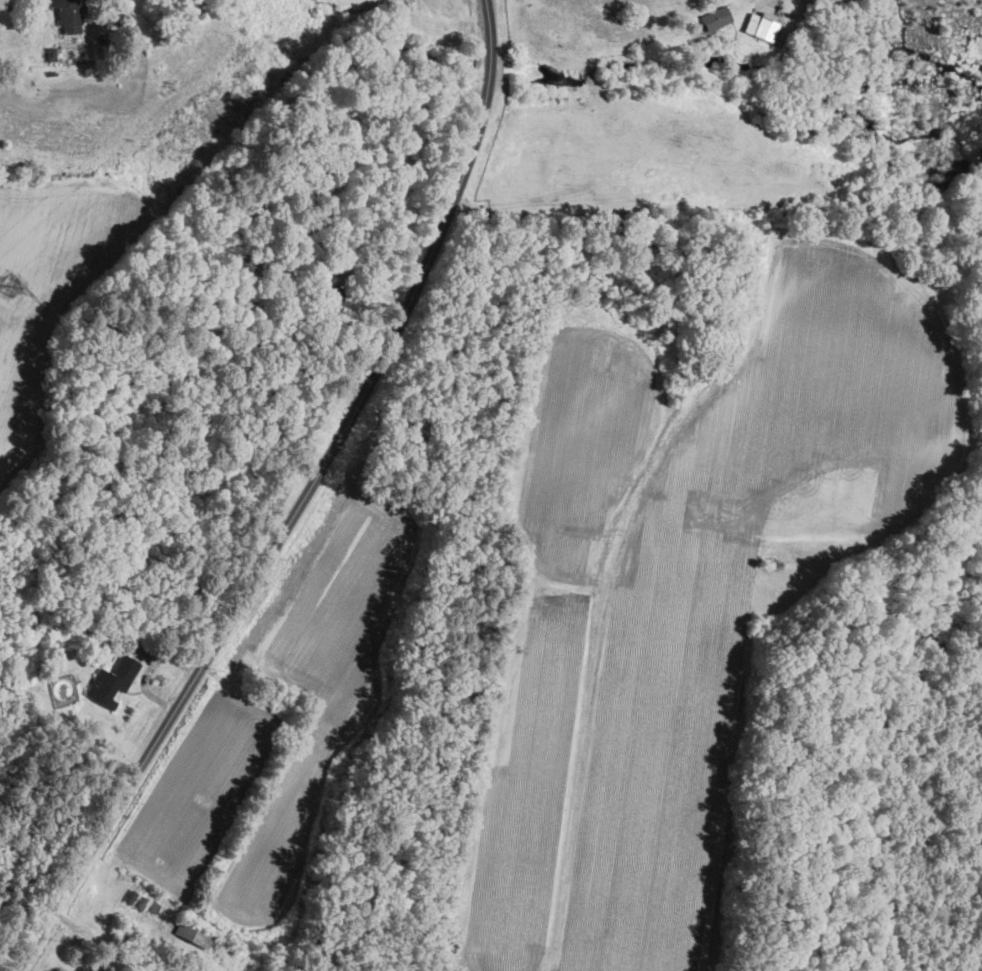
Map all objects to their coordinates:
building: (69, 15)
building: (717, 17)
building: (761, 26)
building: (51, 53)
power tower: (8, 285)
road: (299, 502)
road: (147, 668)
building: (112, 681)

